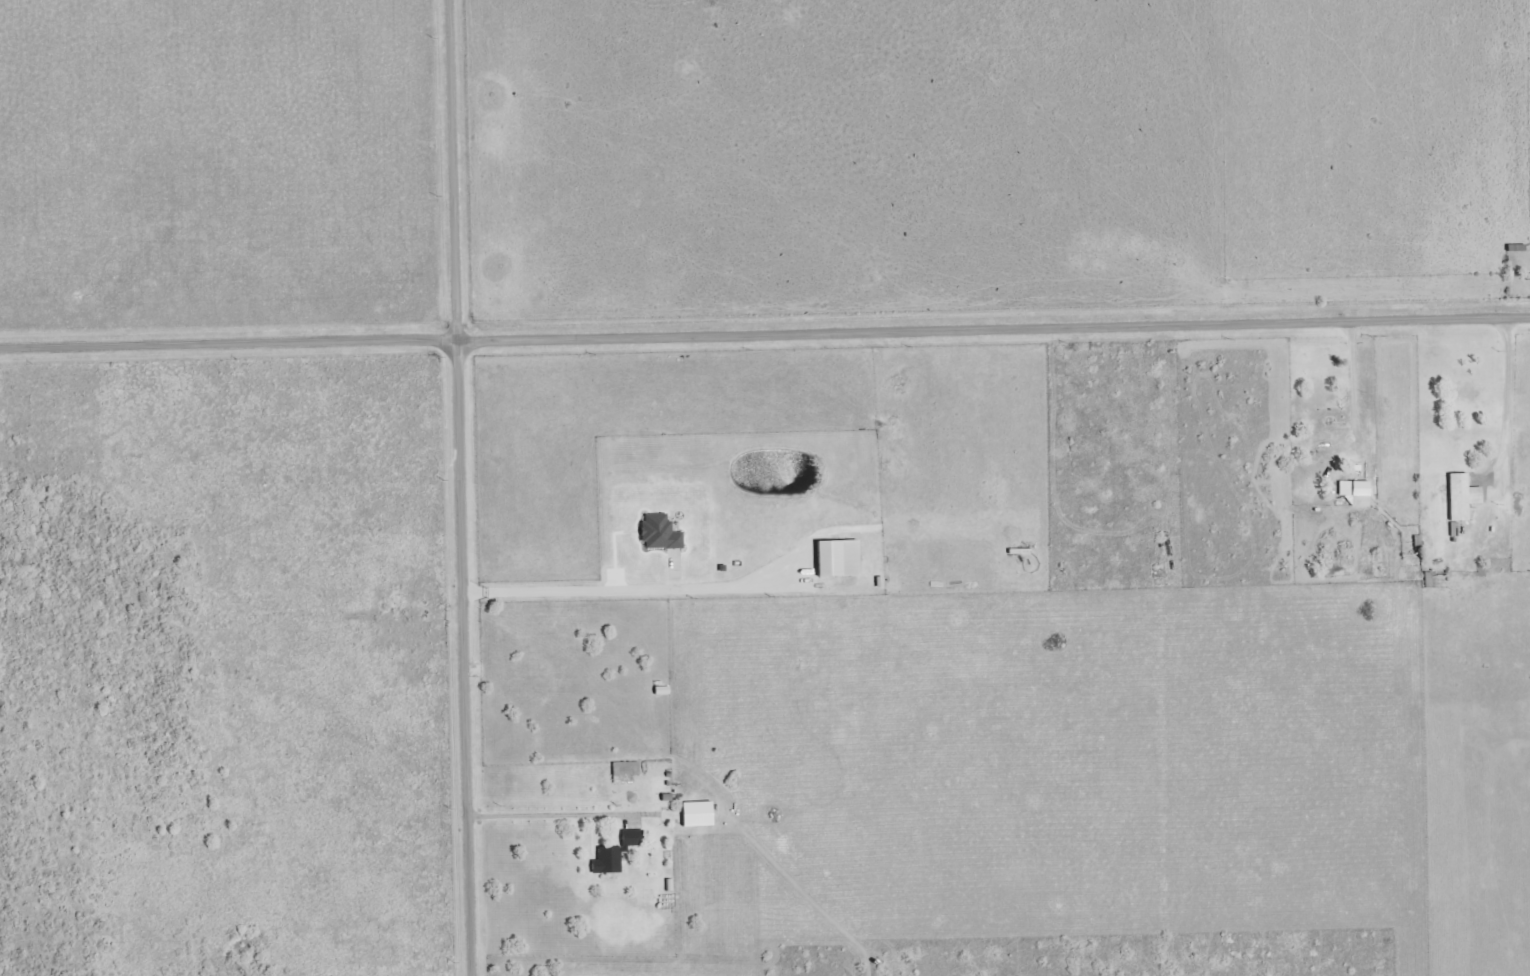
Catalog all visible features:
road: (765, 331)
road: (462, 487)
building: (1355, 493)
building: (1460, 497)
building: (658, 533)
building: (837, 559)
building: (696, 814)
building: (615, 853)

